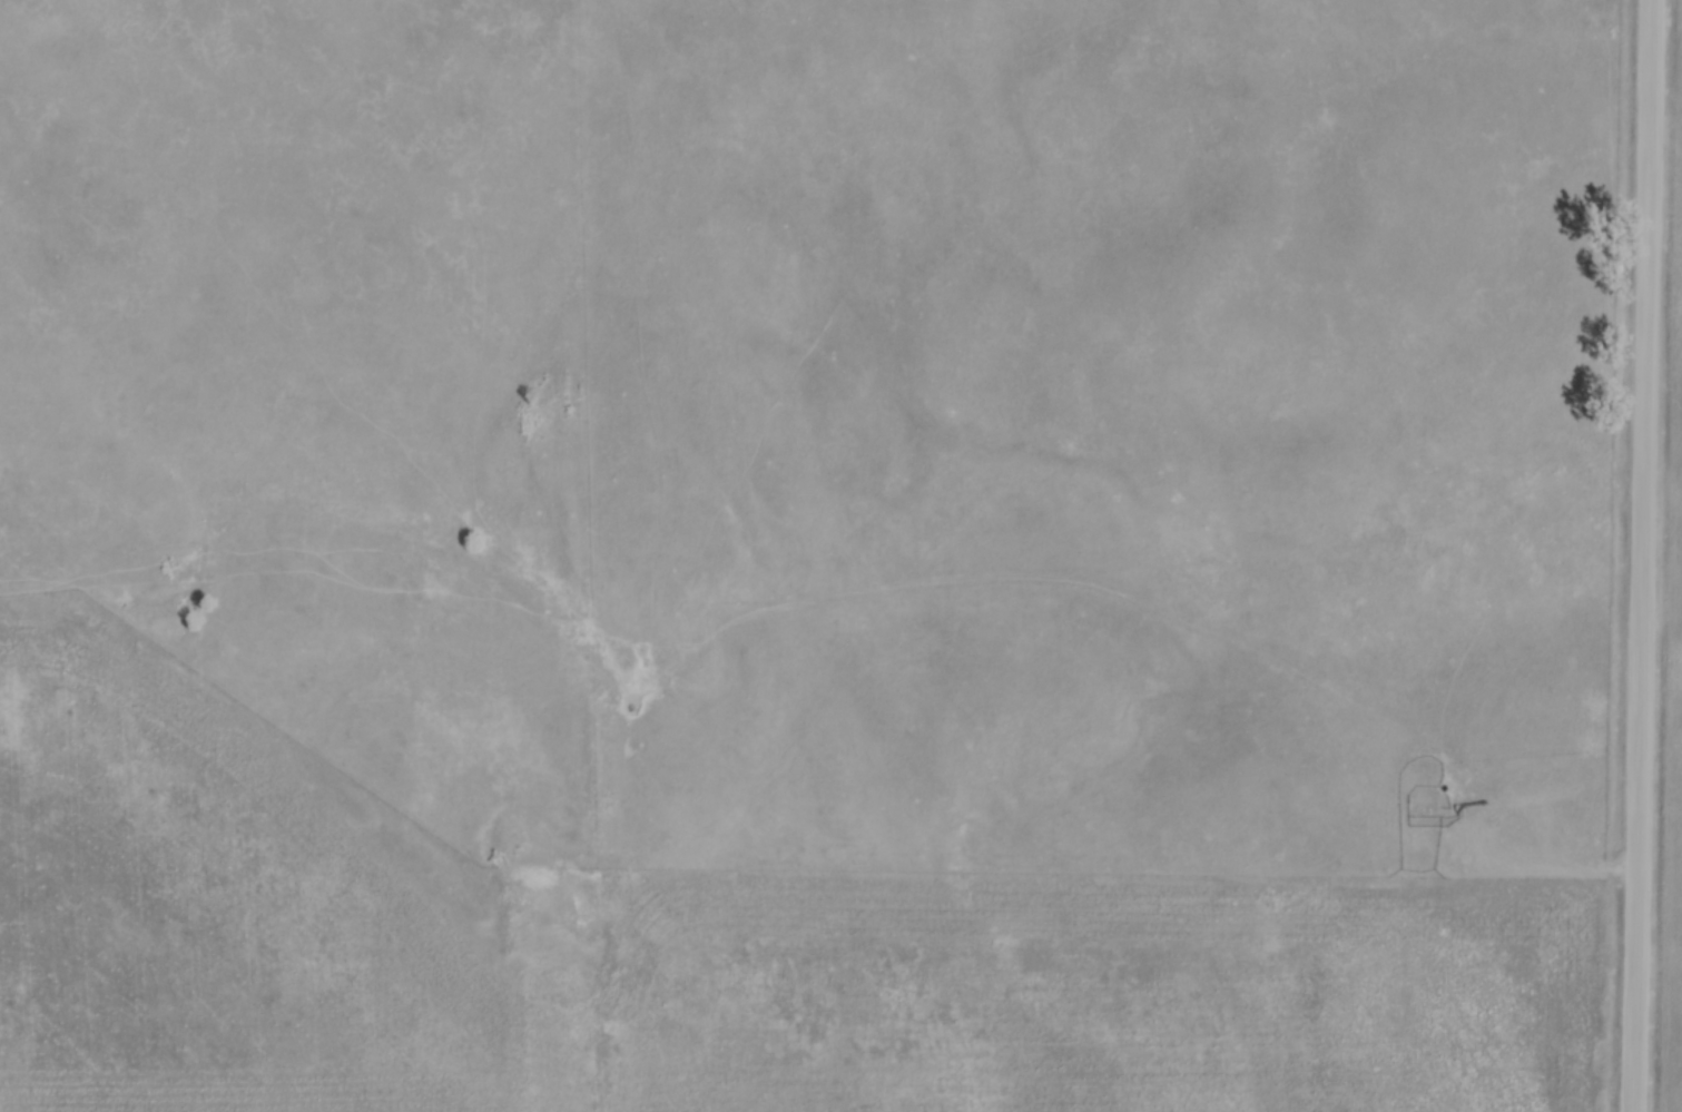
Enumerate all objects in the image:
road: (1643, 555)

